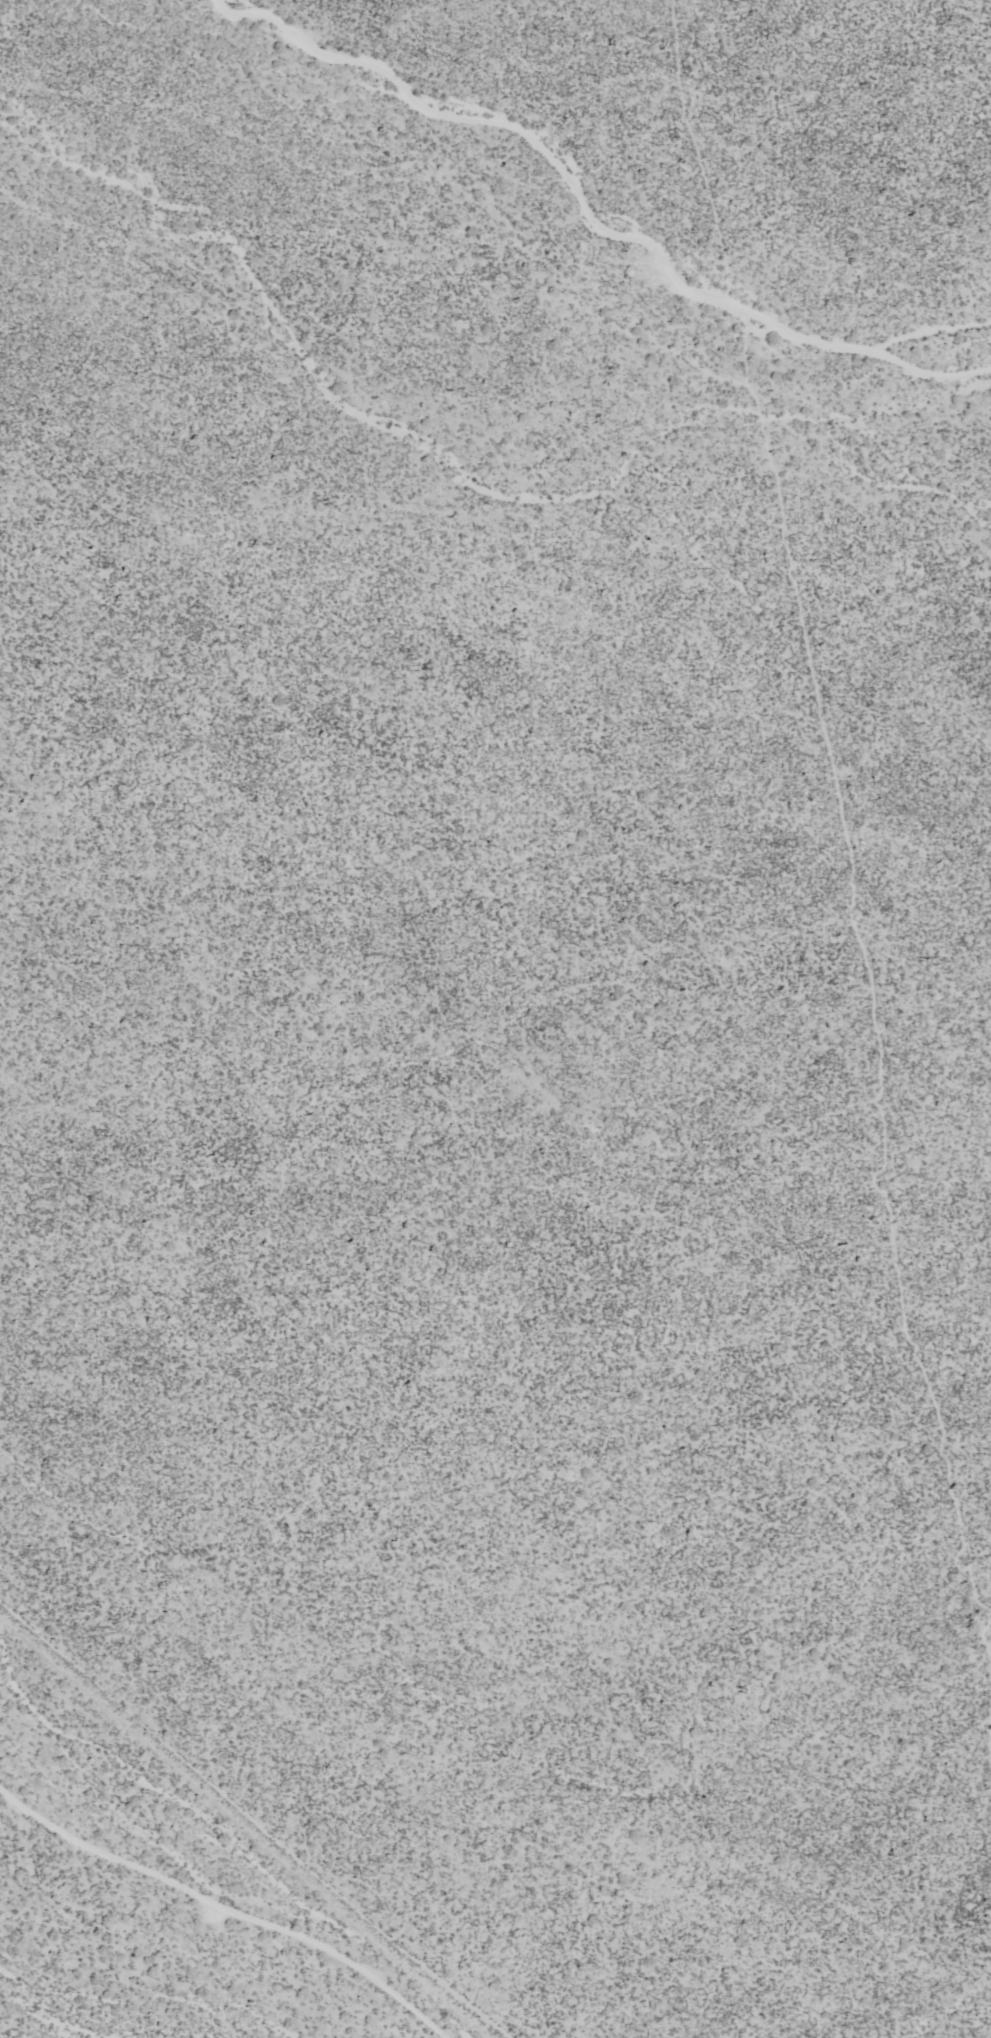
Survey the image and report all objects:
road: (588, 214)
road: (847, 844)
road: (988, 1733)
road: (227, 1909)

